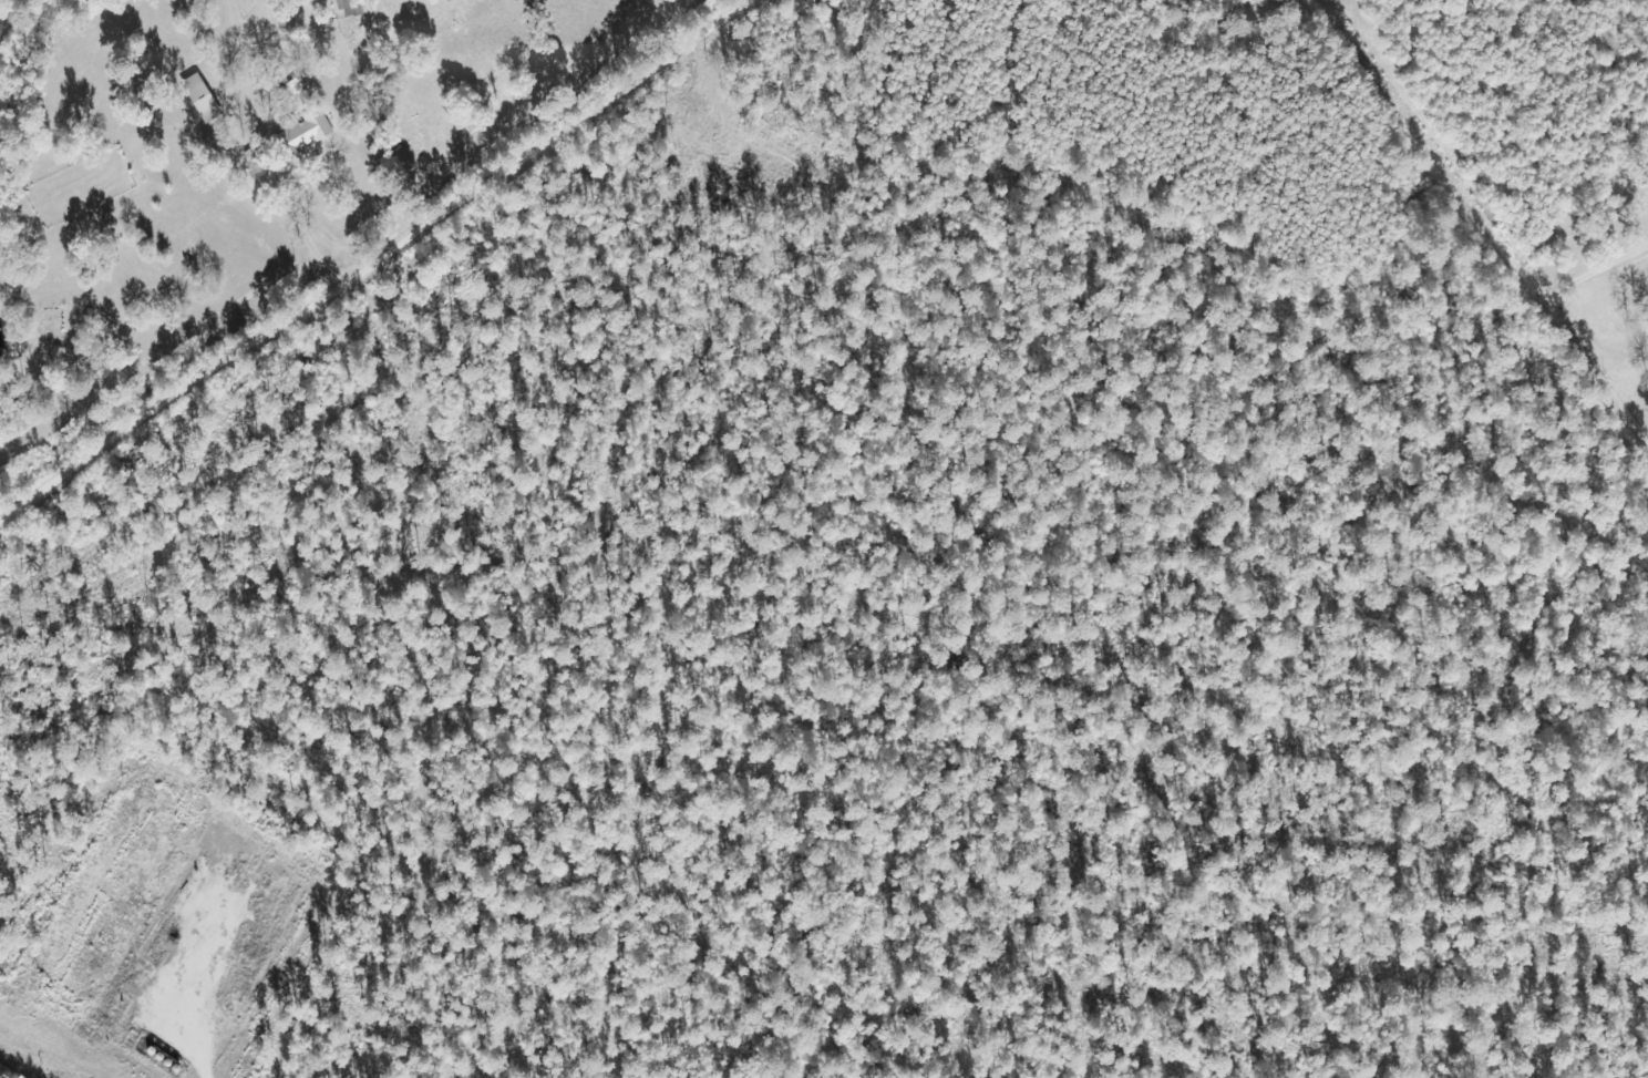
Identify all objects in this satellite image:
building: (349, 8)
building: (199, 99)
building: (301, 133)
road: (1476, 238)
road: (347, 240)

